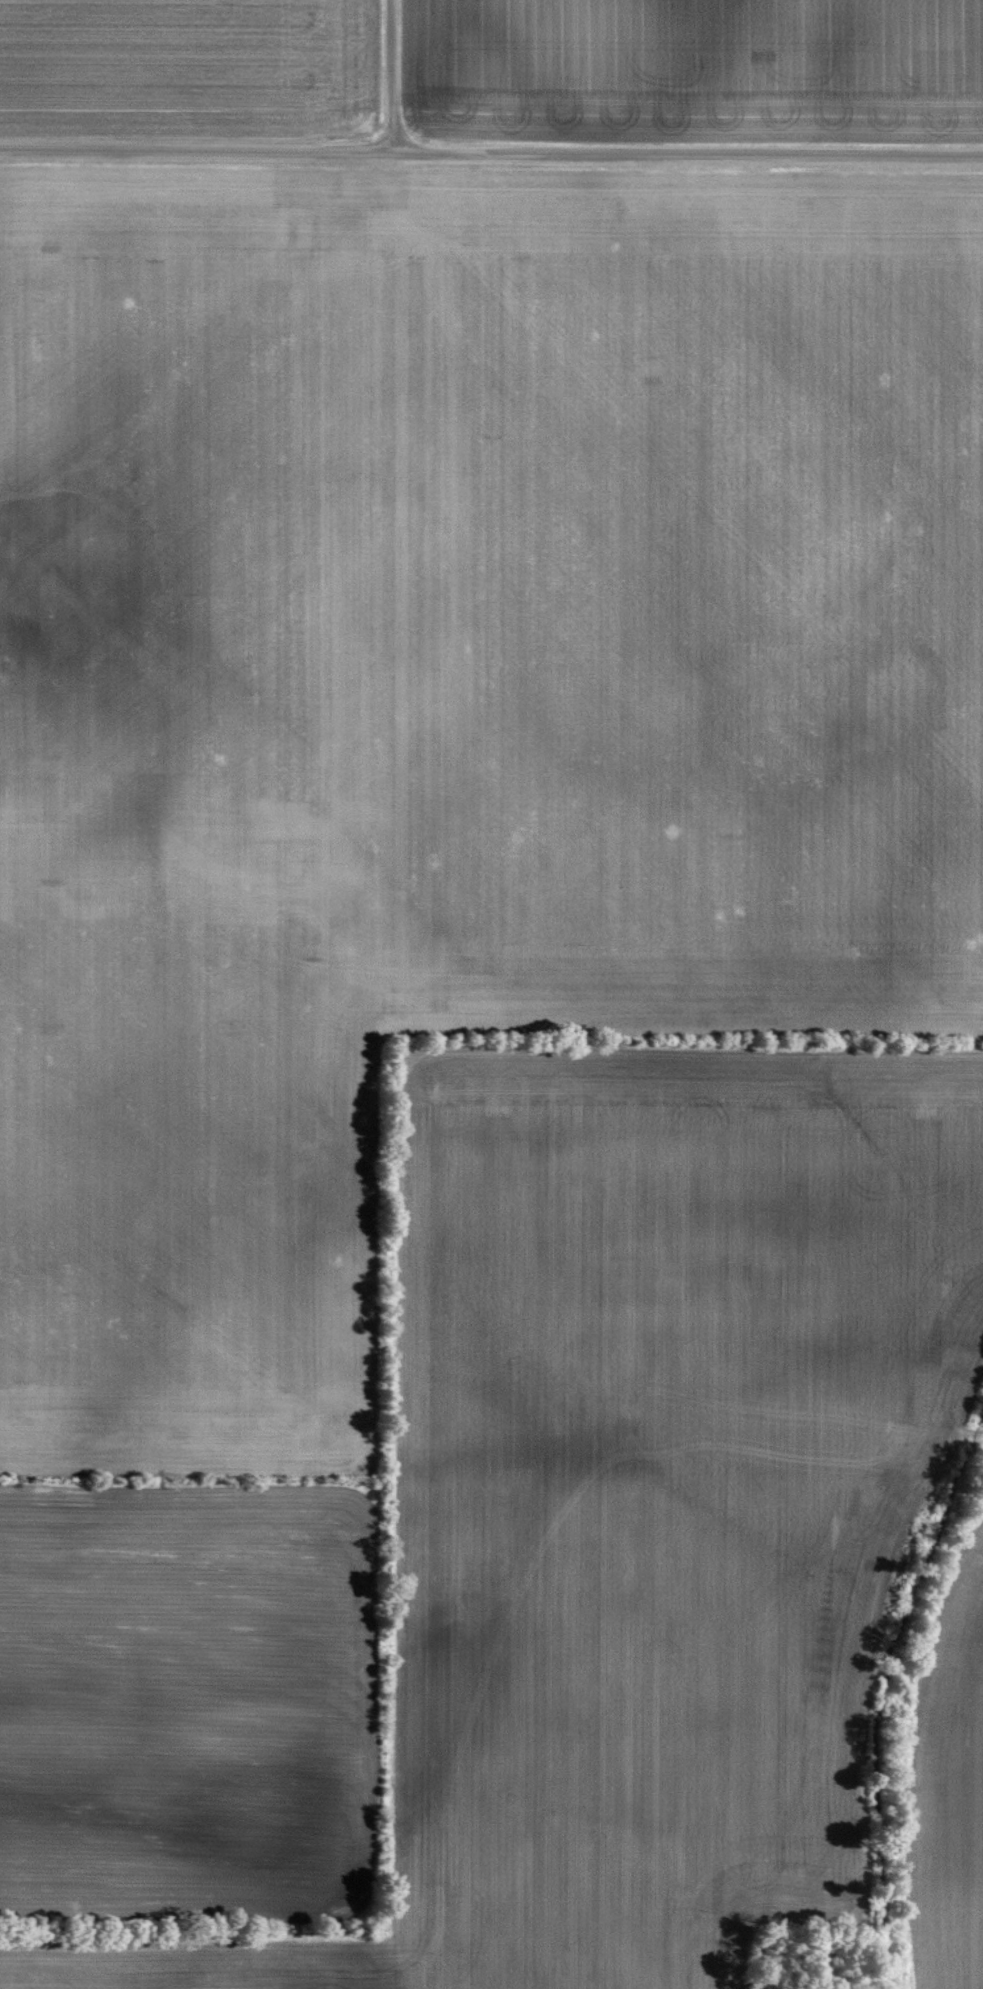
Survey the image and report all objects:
road: (387, 76)
road: (491, 154)

